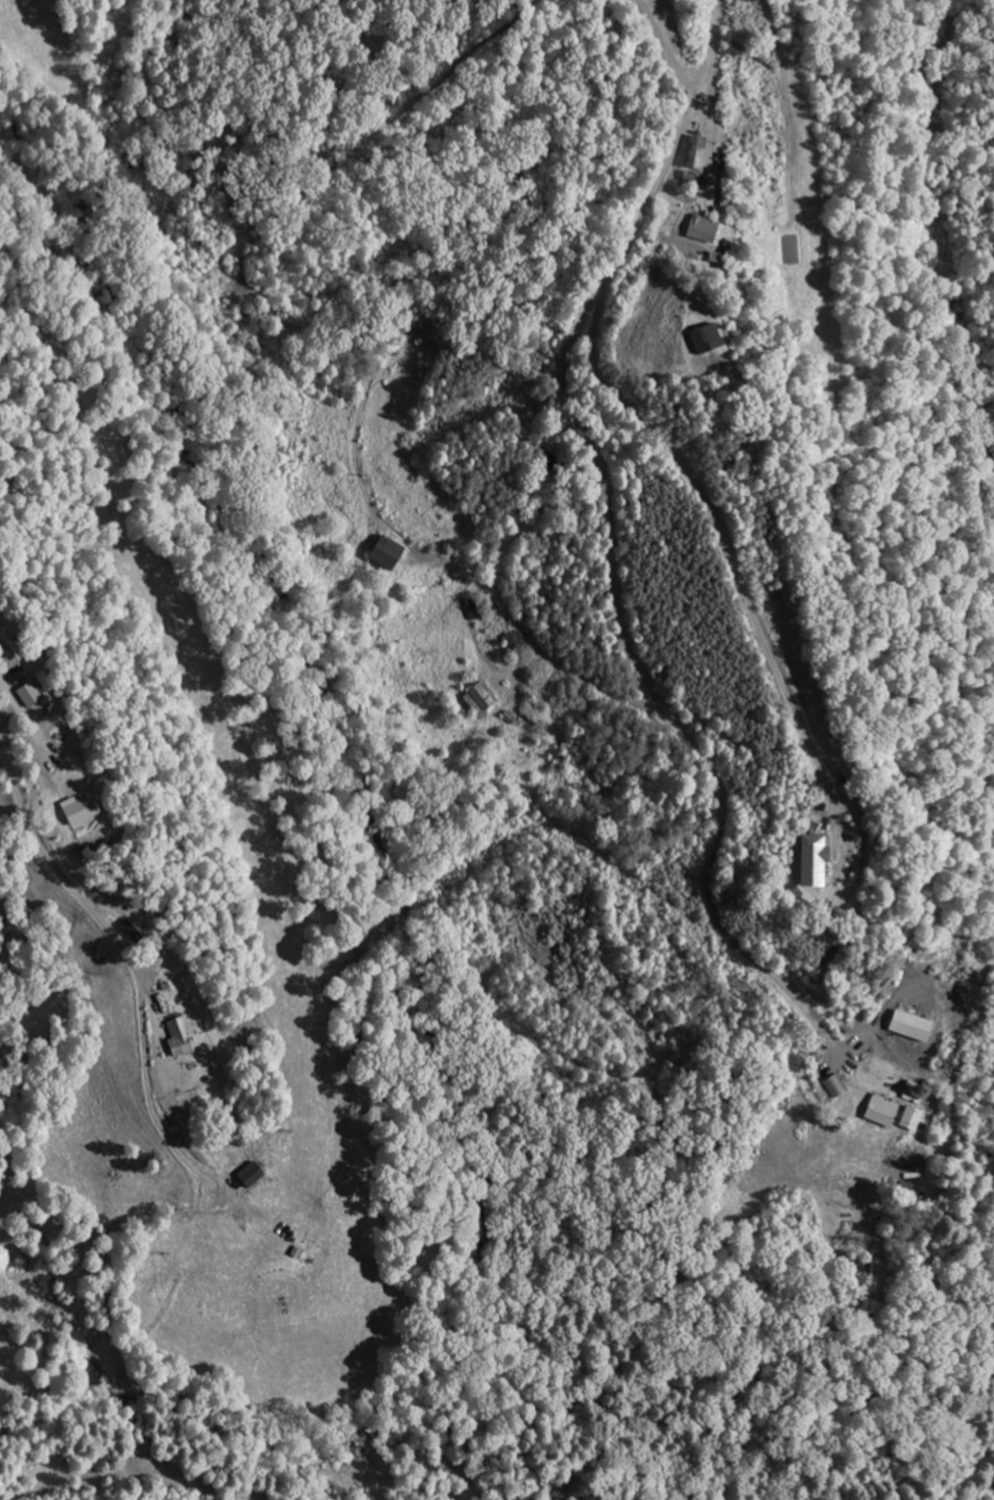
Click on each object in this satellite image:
building: (689, 154)
building: (696, 230)
building: (691, 342)
road: (618, 548)
building: (380, 552)
building: (473, 609)
building: (511, 644)
building: (477, 700)
building: (529, 712)
building: (67, 811)
building: (806, 861)
road: (62, 883)
building: (173, 1038)
building: (877, 1112)
building: (906, 1119)
building: (243, 1175)
building: (858, 1267)

